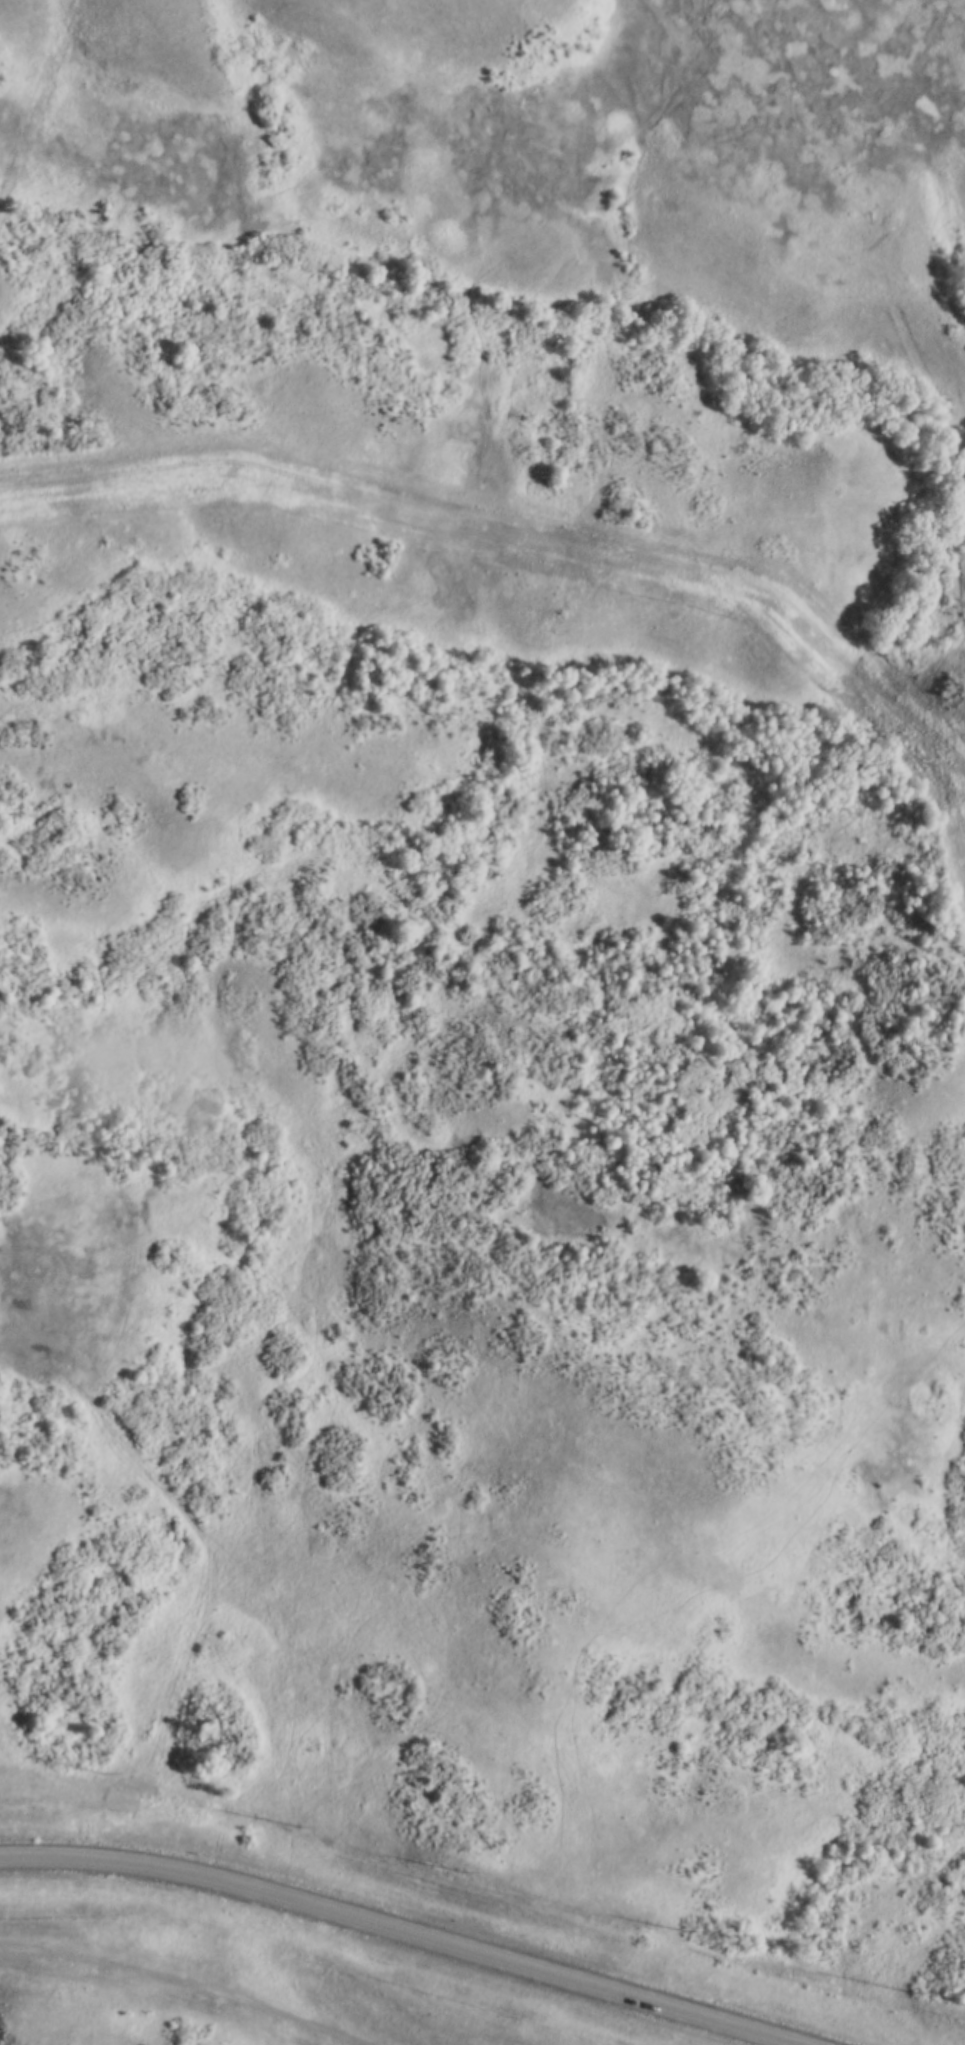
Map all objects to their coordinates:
road: (414, 1938)

